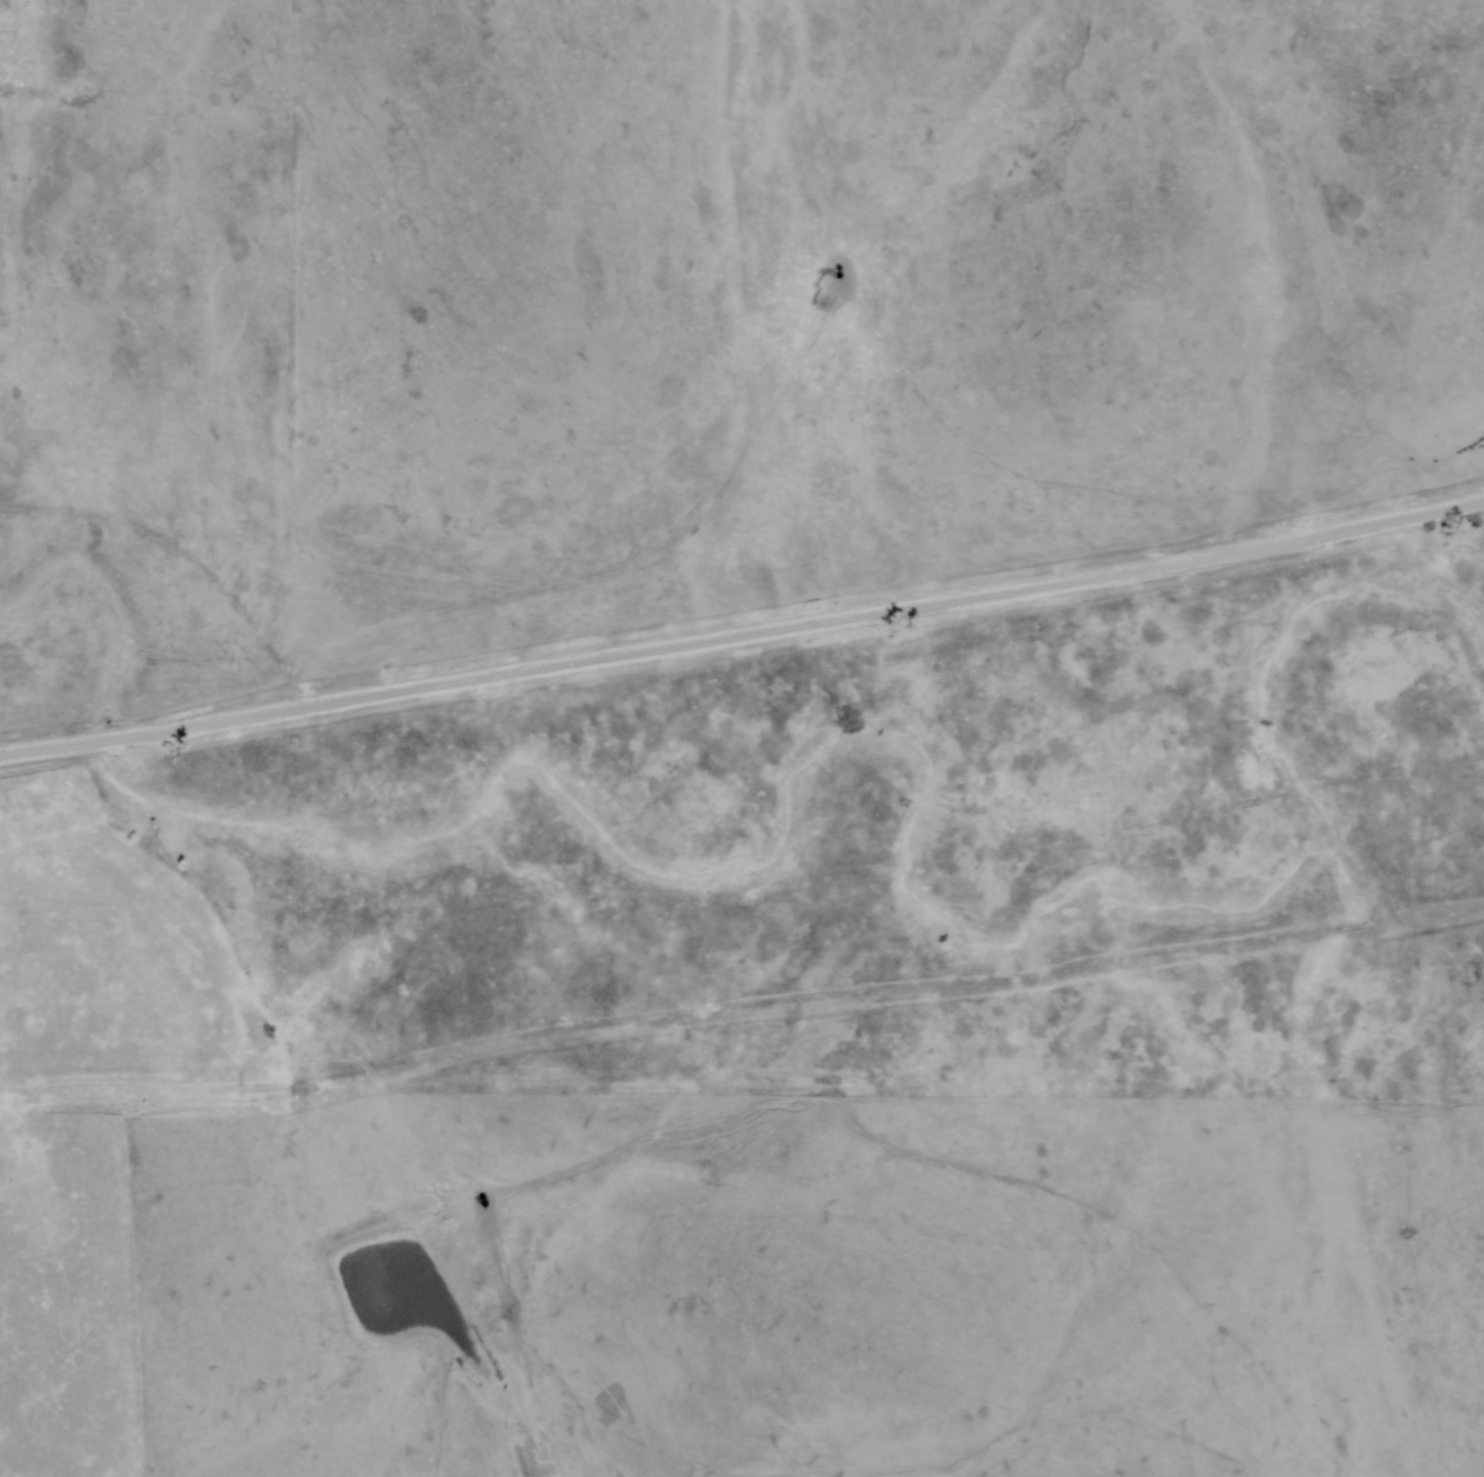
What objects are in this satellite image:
road: (743, 636)

